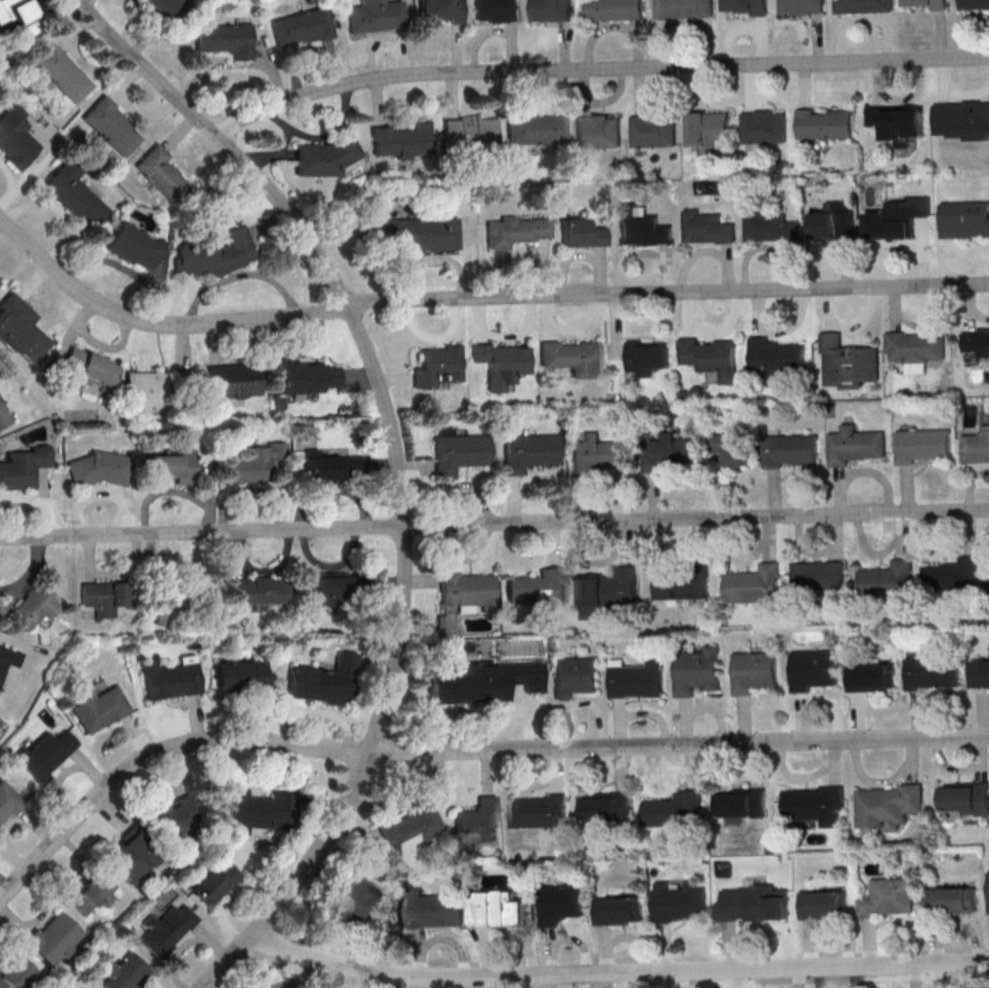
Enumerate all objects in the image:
building: (974, 4)
building: (749, 6)
building: (801, 6)
building: (862, 6)
building: (164, 7)
building: (939, 7)
building: (684, 8)
building: (614, 9)
building: (441, 10)
building: (495, 10)
building: (550, 10)
building: (373, 16)
building: (20, 19)
road: (848, 24)
building: (301, 26)
road: (146, 27)
road: (667, 29)
road: (964, 30)
road: (598, 31)
road: (79, 32)
road: (730, 33)
road: (887, 37)
road: (940, 37)
building: (222, 39)
road: (480, 39)
road: (817, 39)
road: (760, 41)
road: (707, 42)
road: (637, 44)
road: (564, 47)
road: (372, 48)
road: (512, 48)
road: (455, 49)
road: (400, 52)
road: (295, 61)
road: (332, 64)
road: (216, 66)
road: (94, 68)
road: (596, 69)
road: (271, 72)
building: (62, 74)
road: (941, 79)
road: (126, 82)
road: (876, 82)
road: (804, 84)
road: (749, 87)
road: (696, 88)
road: (638, 89)
road: (583, 91)
road: (513, 92)
road: (452, 94)
road: (964, 96)
road: (912, 97)
road: (614, 98)
road: (377, 101)
road: (548, 103)
road: (142, 116)
building: (962, 119)
building: (823, 123)
building: (898, 123)
building: (108, 124)
building: (764, 126)
building: (708, 128)
building: (536, 130)
building: (653, 130)
building: (597, 131)
road: (181, 132)
building: (470, 133)
building: (15, 138)
road: (321, 138)
building: (402, 141)
road: (287, 152)
road: (275, 154)
building: (325, 156)
building: (162, 174)
building: (73, 194)
building: (898, 216)
building: (964, 219)
building: (829, 222)
building: (768, 223)
building: (641, 227)
building: (707, 228)
building: (515, 231)
building: (579, 231)
road: (340, 233)
building: (422, 233)
building: (133, 246)
road: (752, 251)
road: (882, 253)
road: (924, 253)
building: (212, 254)
road: (626, 254)
road: (692, 258)
road: (847, 259)
road: (431, 261)
road: (502, 261)
road: (567, 261)
road: (792, 267)
road: (727, 268)
road: (545, 269)
road: (666, 269)
road: (600, 271)
building: (0, 282)
road: (476, 299)
road: (893, 307)
road: (968, 307)
road: (828, 309)
road: (688, 312)
road: (758, 312)
road: (978, 316)
road: (549, 317)
road: (479, 320)
road: (861, 323)
road: (616, 324)
road: (792, 324)
road: (583, 325)
road: (932, 325)
road: (725, 329)
building: (21, 330)
road: (519, 334)
road: (433, 339)
building: (976, 341)
building: (914, 346)
building: (646, 356)
building: (711, 356)
building: (776, 356)
building: (573, 357)
building: (848, 362)
building: (501, 363)
building: (437, 366)
building: (92, 368)
building: (308, 377)
road: (394, 381)
building: (233, 382)
building: (159, 391)
building: (831, 411)
building: (4, 415)
building: (855, 445)
building: (922, 445)
building: (976, 446)
building: (733, 449)
building: (790, 449)
building: (459, 451)
building: (529, 451)
building: (668, 451)
building: (600, 453)
building: (254, 464)
building: (24, 467)
building: (169, 467)
building: (103, 469)
building: (335, 469)
road: (397, 469)
road: (414, 469)
road: (878, 473)
road: (552, 482)
road: (970, 485)
road: (463, 486)
road: (720, 487)
road: (907, 490)
road: (839, 491)
road: (775, 494)
road: (653, 498)
road: (583, 500)
road: (514, 501)
road: (494, 524)
building: (954, 576)
building: (819, 577)
building: (887, 581)
building: (754, 585)
building: (539, 587)
building: (666, 587)
building: (699, 588)
building: (331, 589)
building: (467, 589)
building: (260, 590)
building: (610, 593)
building: (105, 597)
building: (173, 604)
building: (29, 609)
building: (8, 659)
building: (813, 669)
building: (698, 670)
building: (754, 671)
building: (933, 673)
building: (981, 673)
building: (240, 676)
building: (574, 676)
building: (871, 677)
building: (171, 678)
building: (516, 678)
building: (639, 679)
building: (324, 682)
building: (454, 684)
building: (101, 709)
road: (678, 746)
building: (45, 754)
road: (156, 754)
building: (964, 798)
building: (8, 802)
building: (742, 804)
building: (815, 804)
building: (888, 806)
building: (606, 807)
building: (539, 810)
building: (676, 810)
building: (258, 812)
building: (176, 816)
building: (477, 822)
building: (410, 830)
building: (130, 857)
building: (215, 882)
building: (90, 893)
building: (889, 898)
building: (363, 899)
building: (951, 900)
building: (679, 902)
building: (561, 903)
building: (756, 904)
building: (824, 904)
building: (435, 909)
building: (501, 909)
building: (619, 910)
building: (167, 930)
building: (54, 938)
building: (123, 972)
building: (14, 973)
road: (617, 973)

